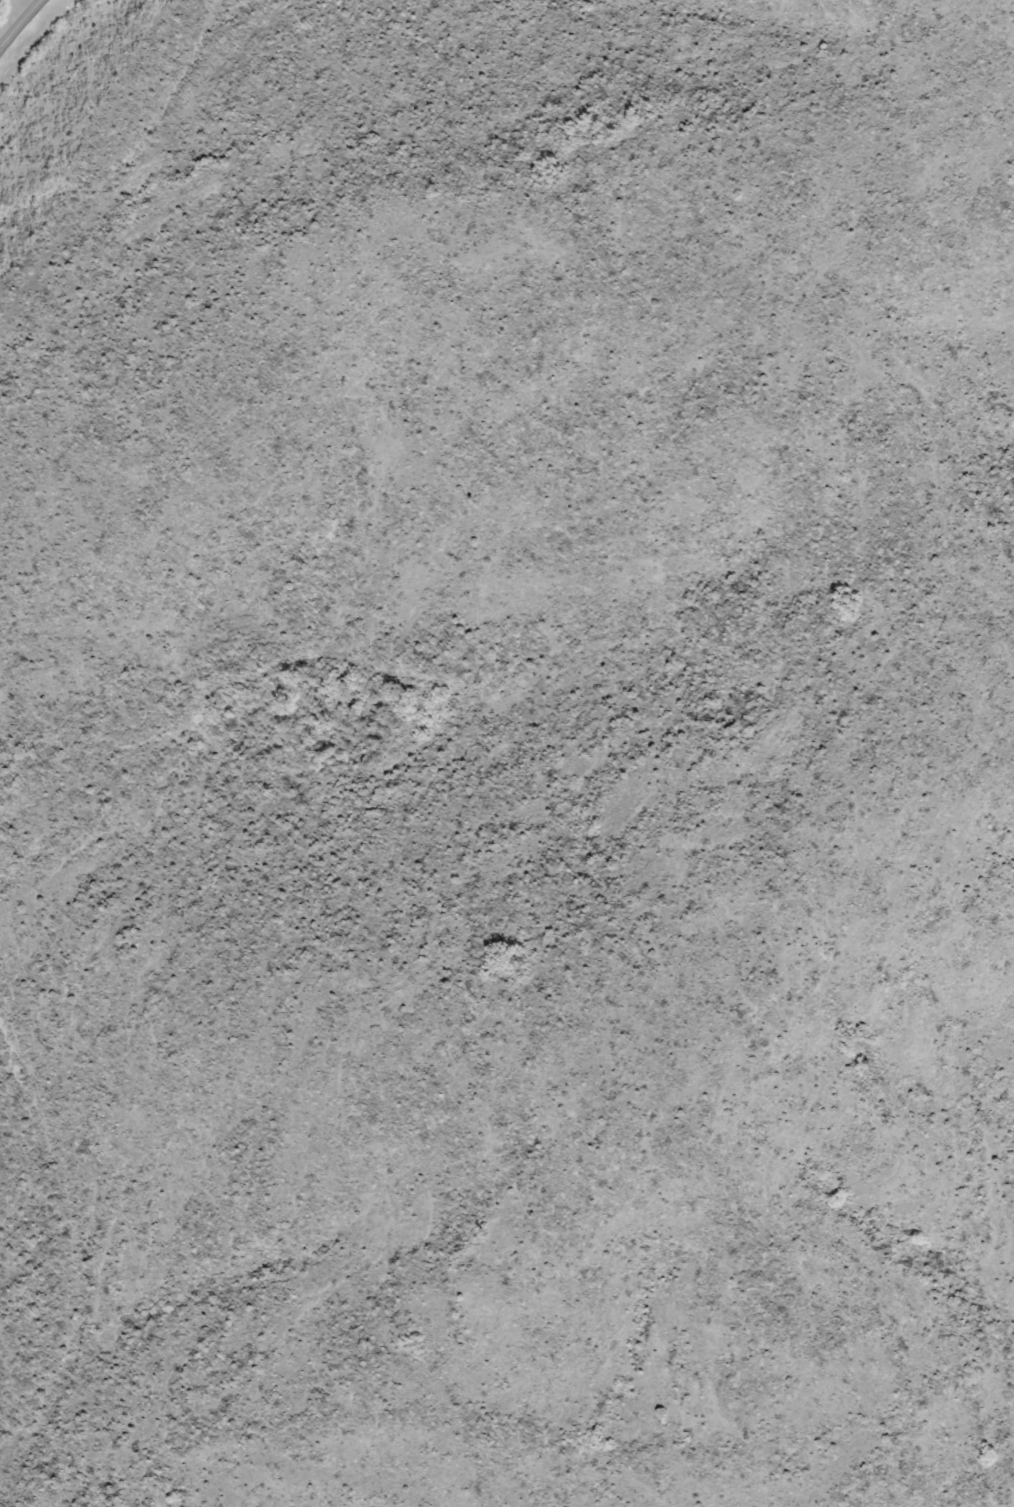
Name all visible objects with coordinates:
road: (16, 19)

